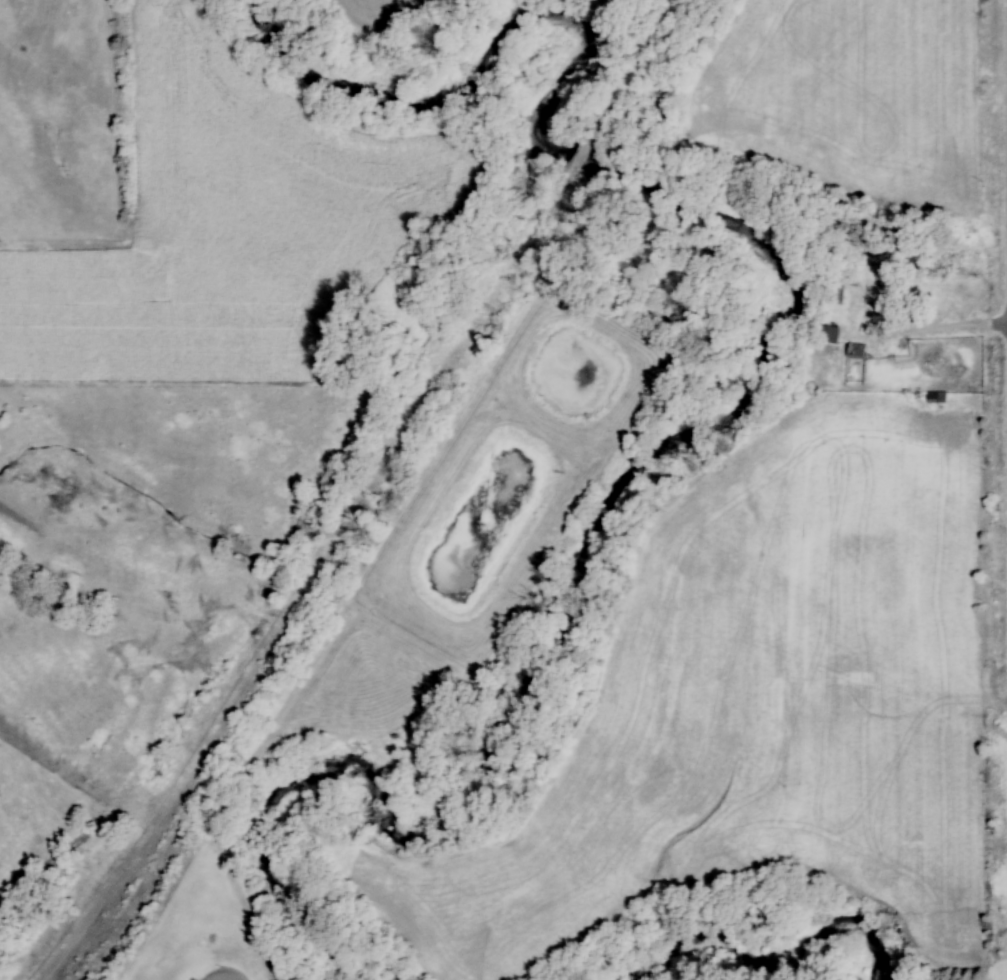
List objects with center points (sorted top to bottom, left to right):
crop: (859, 88)
road: (910, 333)
building: (830, 334)
building: (856, 350)
building: (937, 397)
crop: (755, 694)

